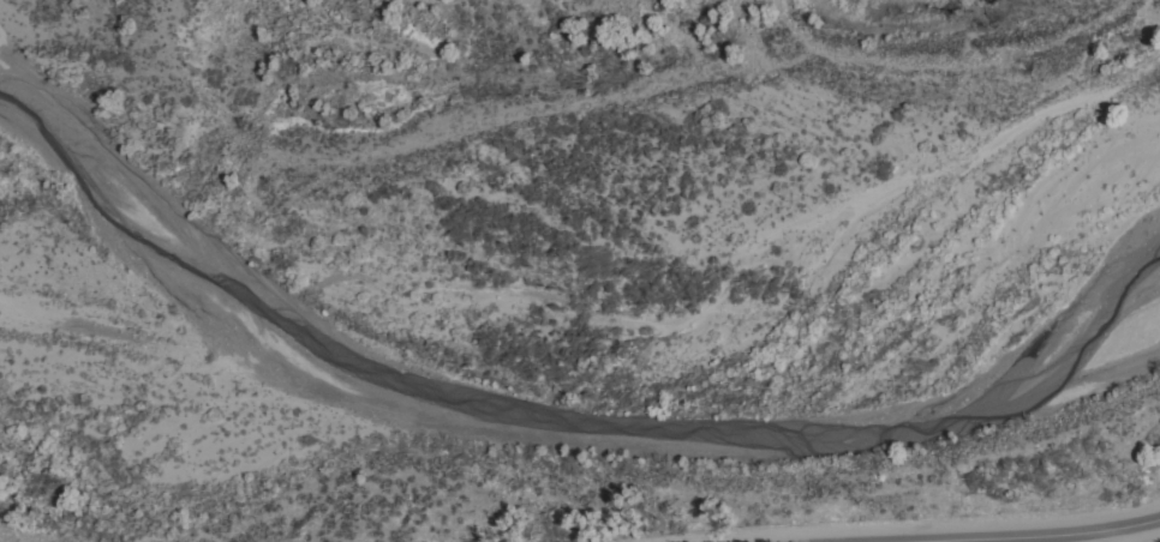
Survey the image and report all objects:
river: (633, 24)
river: (337, 239)
road: (1128, 535)

